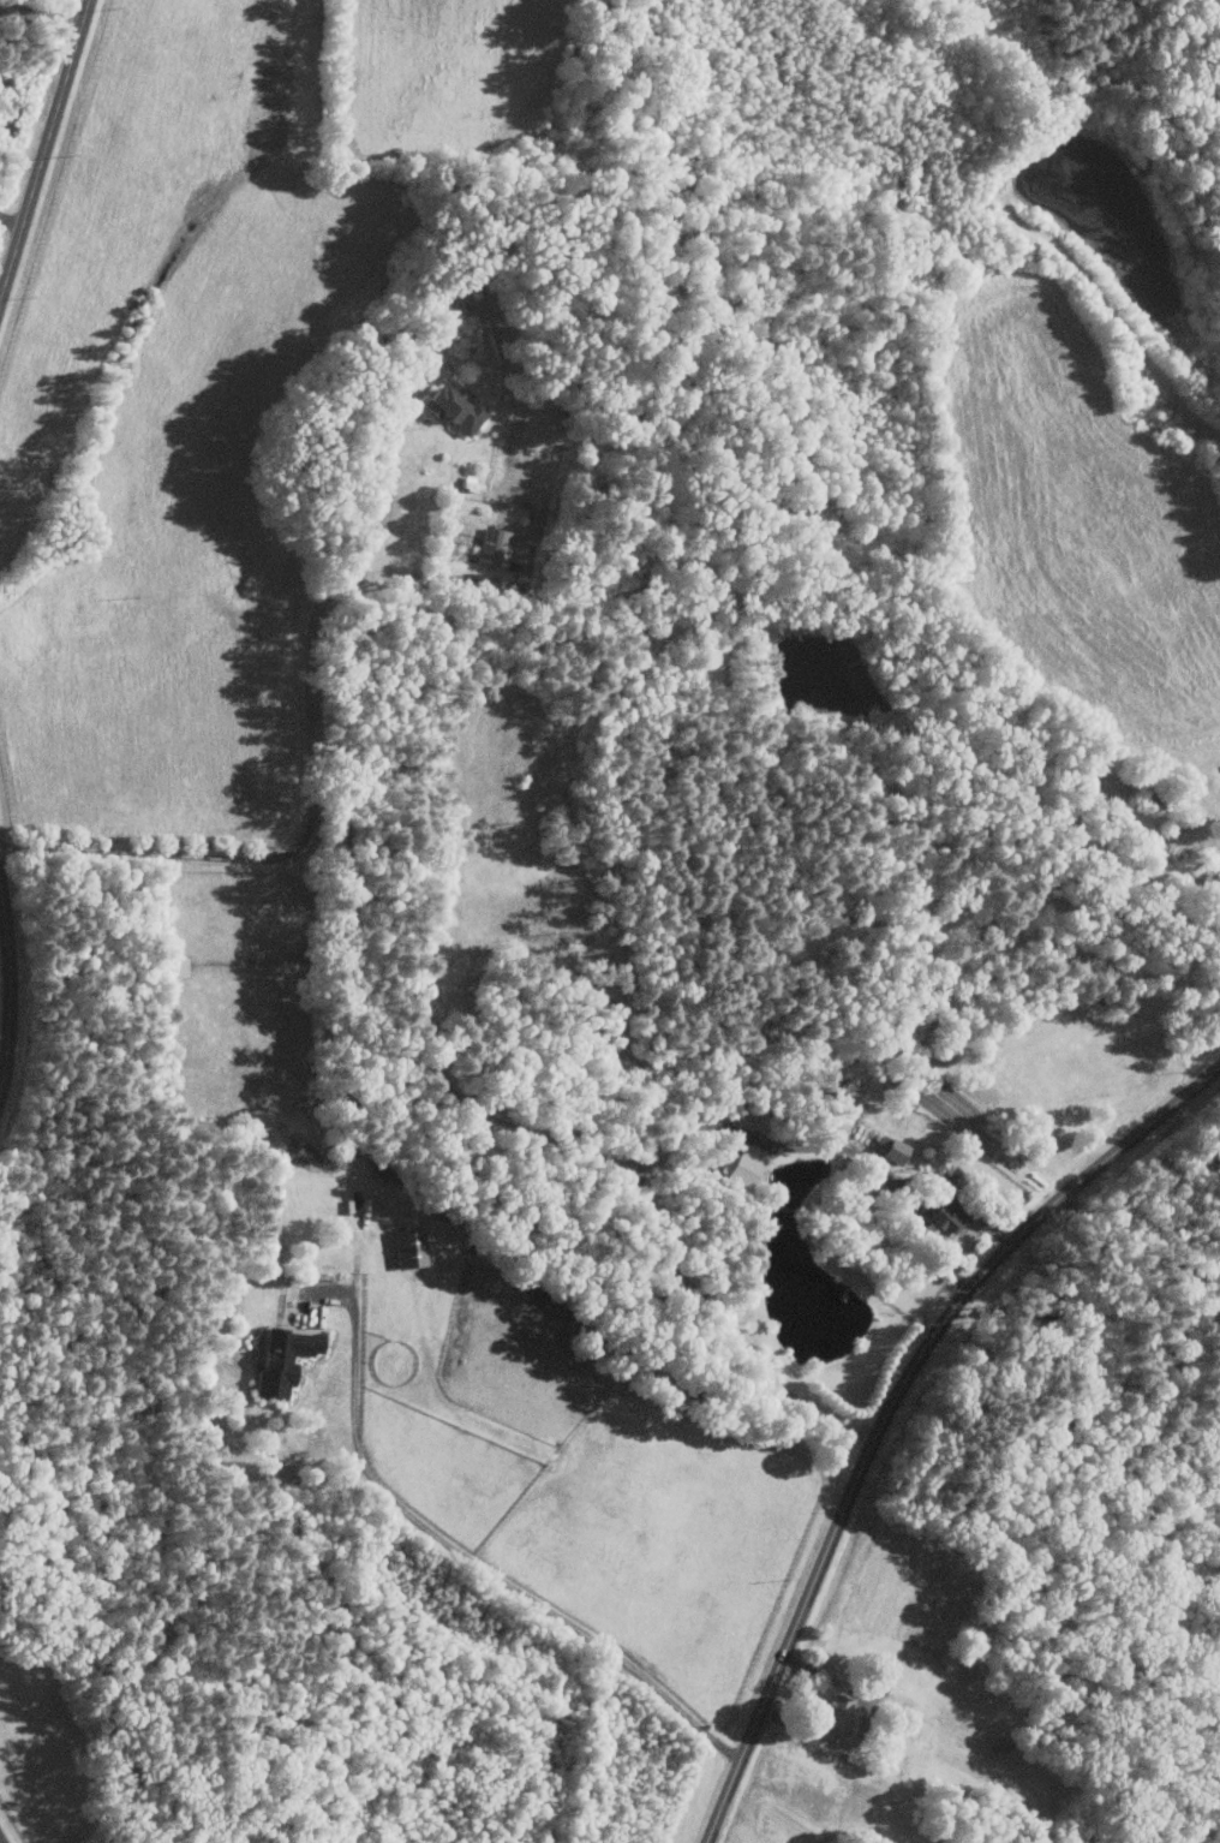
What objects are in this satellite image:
road: (41, 14)
road: (43, 151)
road: (11, 221)
building: (449, 410)
building: (492, 548)
road: (312, 785)
building: (1212, 879)
building: (177, 966)
road: (10, 989)
building: (890, 1151)
road: (652, 1152)
building: (741, 1159)
road: (962, 1204)
building: (941, 1218)
building: (406, 1248)
building: (280, 1359)
road: (891, 1404)
road: (465, 1558)
building: (838, 1716)
road: (863, 1725)

